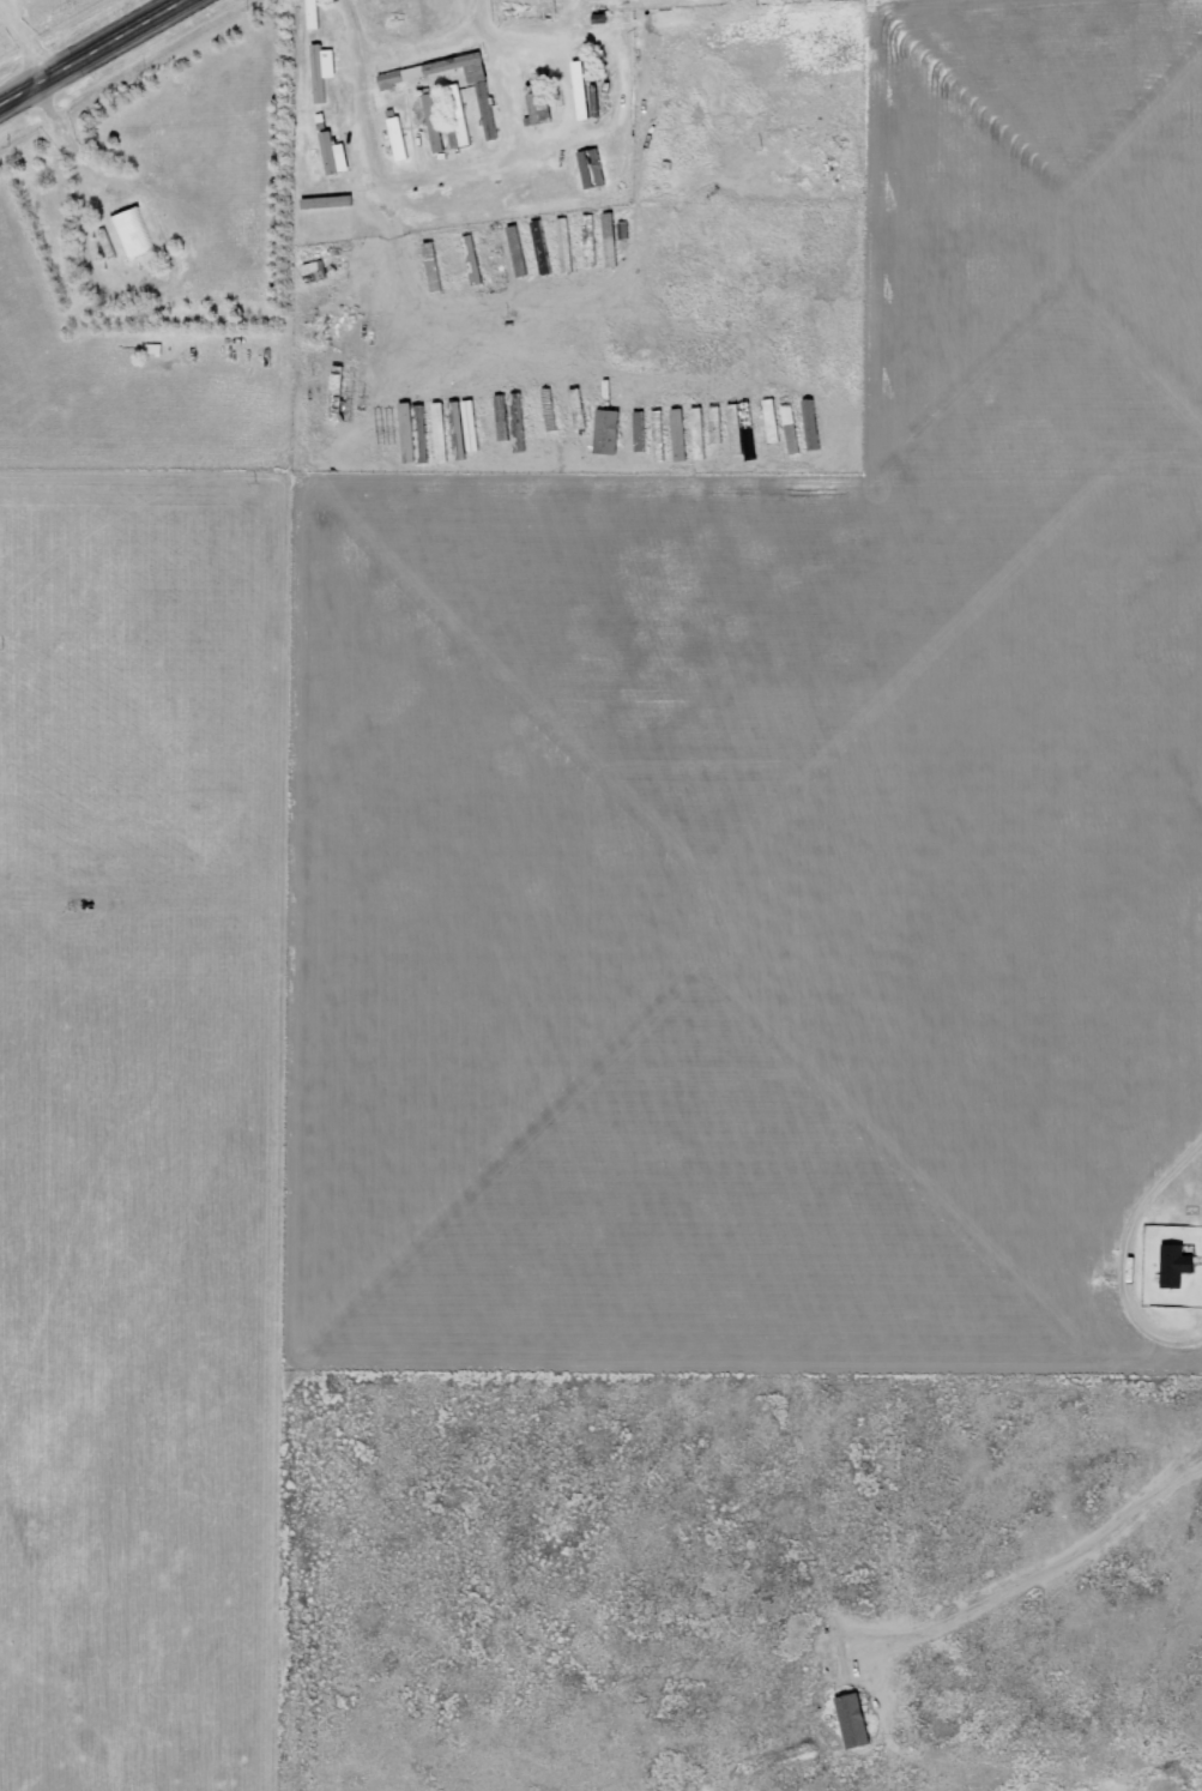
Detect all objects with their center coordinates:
road: (85, 48)
road: (417, 48)
building: (436, 70)
building: (477, 90)
road: (505, 94)
building: (457, 117)
building: (434, 121)
building: (397, 137)
road: (528, 146)
building: (333, 153)
building: (591, 168)
building: (129, 234)
building: (513, 235)
building: (608, 239)
building: (563, 243)
building: (472, 414)
building: (771, 420)
building: (715, 423)
building: (810, 423)
building: (735, 428)
building: (791, 428)
building: (605, 430)
building: (639, 430)
building: (697, 432)
building: (657, 434)
building: (678, 434)
building: (1174, 1264)
building: (853, 1719)

